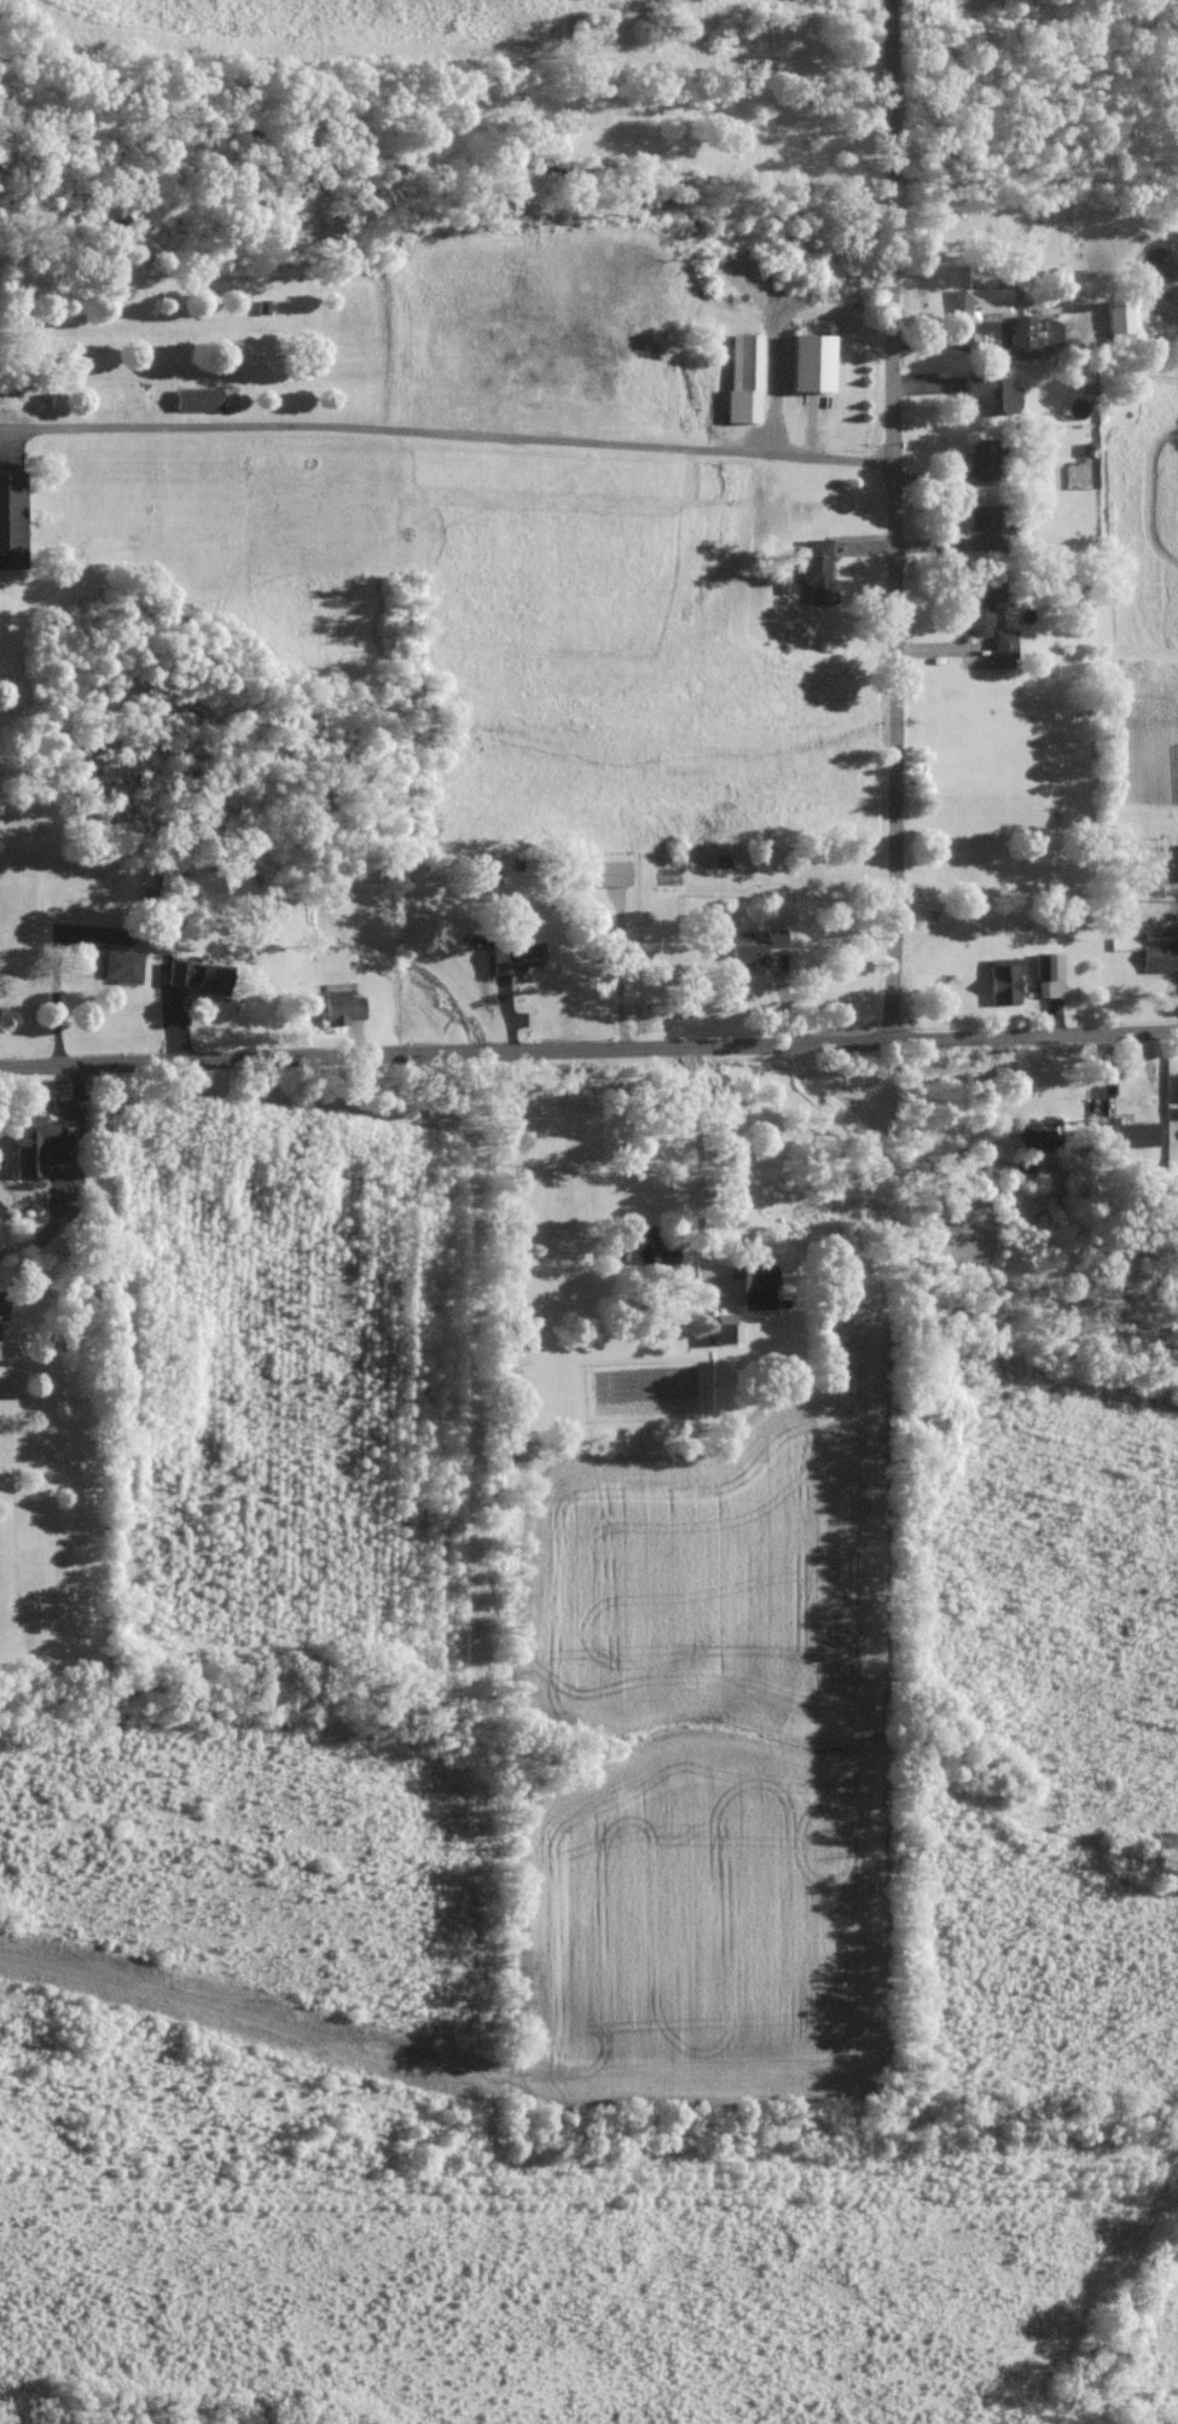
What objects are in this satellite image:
road: (892, 76)
building: (983, 301)
building: (1120, 320)
building: (1025, 330)
road: (947, 340)
building: (812, 363)
building: (745, 377)
building: (993, 392)
building: (198, 399)
road: (446, 433)
building: (987, 457)
building: (11, 520)
building: (993, 524)
building: (819, 572)
road: (893, 596)
building: (985, 601)
building: (1005, 644)
building: (608, 874)
building: (758, 945)
building: (1161, 956)
building: (516, 957)
building: (121, 965)
building: (202, 974)
building: (1050, 975)
building: (1005, 979)
building: (342, 1007)
road: (1033, 1036)
road: (443, 1051)
building: (1040, 1133)
building: (1127, 1133)
road: (697, 1136)
building: (41, 1143)
building: (646, 1249)
building: (759, 1287)
building: (729, 1328)

